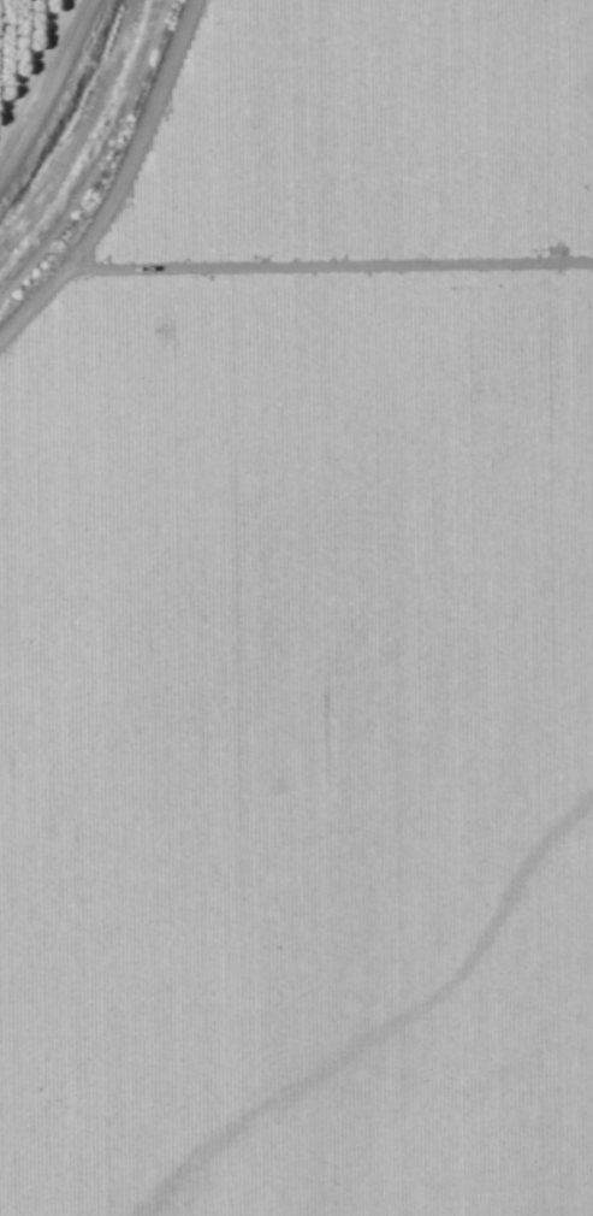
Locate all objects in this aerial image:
road: (49, 88)
road: (100, 158)

